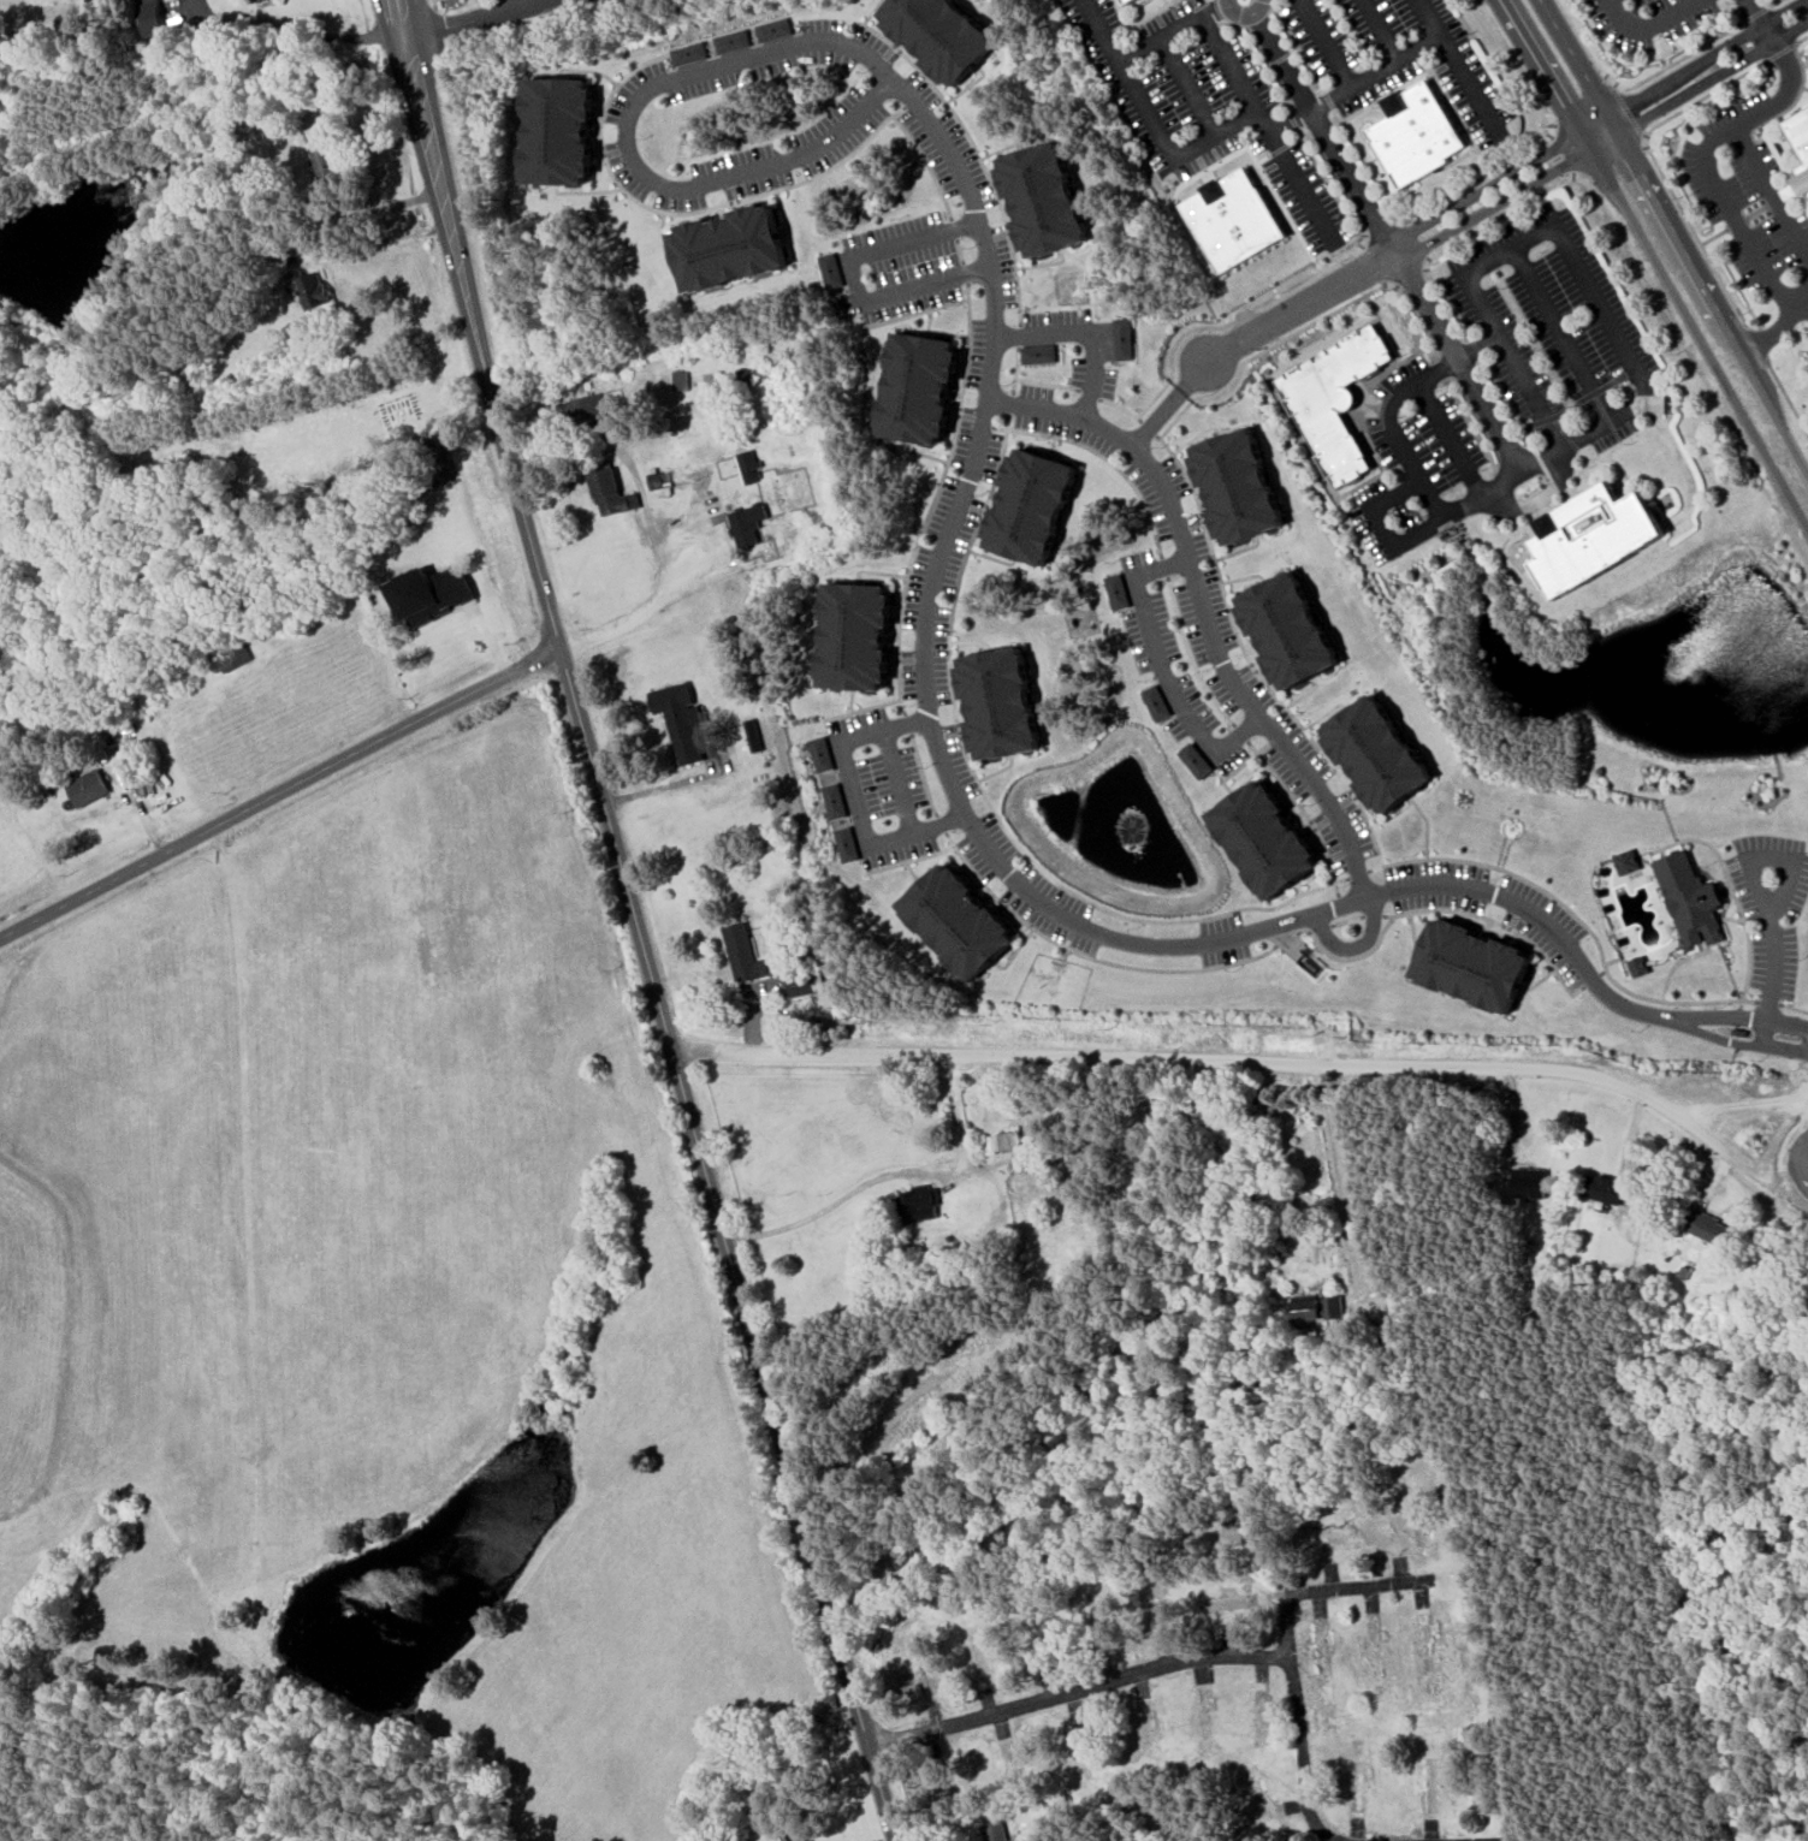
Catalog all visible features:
parking lot: (488, 0)
building: (253, 1)
building: (1134, 1)
road: (1607, 2)
road: (512, 4)
road: (434, 5)
road: (1767, 6)
road: (1214, 8)
road: (1754, 13)
building: (150, 16)
road: (485, 16)
road: (1245, 16)
road: (1757, 18)
parking lot: (1650, 19)
road: (1204, 22)
road: (1649, 26)
building: (771, 29)
road: (1381, 30)
road: (287, 35)
building: (938, 35)
road: (409, 36)
building: (729, 41)
road: (1328, 43)
building: (687, 53)
road: (757, 58)
road: (1788, 70)
road: (1708, 71)
road: (1540, 72)
road: (1373, 75)
parking lot: (1279, 82)
road: (1634, 83)
road: (1470, 85)
road: (1188, 87)
road: (1702, 96)
road: (1576, 101)
road: (1623, 109)
road: (960, 123)
building: (556, 130)
road: (1324, 133)
building: (1418, 133)
road: (1201, 143)
building: (1800, 144)
road: (1250, 148)
building: (324, 154)
road: (1559, 154)
road: (1607, 160)
road: (926, 164)
road: (1486, 173)
road: (1771, 192)
building: (1042, 198)
road: (1720, 202)
parking lot: (1749, 202)
road: (688, 212)
road: (1656, 214)
road: (440, 218)
road: (461, 218)
building: (1234, 220)
road: (1440, 226)
road: (953, 230)
road: (1382, 230)
road: (1472, 231)
road: (1694, 232)
road: (1714, 236)
building: (727, 247)
road: (959, 251)
building: (830, 271)
road: (964, 273)
road: (1406, 274)
road: (852, 277)
building: (312, 289)
road: (915, 314)
road: (1238, 316)
road: (1777, 328)
road: (1300, 329)
road: (1697, 333)
road: (1018, 335)
road: (1085, 335)
road: (1560, 337)
building: (1124, 339)
road: (1757, 344)
road: (1225, 354)
building: (1038, 355)
road: (1457, 364)
road: (1016, 370)
building: (745, 375)
building: (681, 380)
road: (1047, 384)
parking lot: (1506, 385)
building: (917, 388)
road: (1788, 393)
building: (121, 394)
road: (1089, 394)
road: (1647, 399)
building: (1334, 400)
road: (1010, 404)
road: (1121, 408)
building: (588, 411)
road: (1062, 417)
road: (1157, 417)
road: (1149, 428)
road: (1448, 439)
road: (1795, 450)
road: (1104, 457)
building: (749, 467)
road: (1418, 480)
building: (660, 482)
road: (1502, 485)
building: (1237, 487)
building: (610, 491)
road: (933, 499)
building: (1031, 506)
building: (747, 524)
building: (1597, 536)
road: (1163, 568)
building: (1118, 592)
building: (429, 594)
road: (642, 613)
building: (1290, 630)
building: (853, 636)
building: (233, 655)
road: (1191, 657)
road: (1249, 661)
road: (1163, 667)
road: (1234, 678)
building: (1001, 702)
building: (1156, 702)
road: (864, 709)
building: (681, 720)
road: (906, 724)
road: (1240, 734)
building: (753, 736)
building: (823, 753)
building: (1381, 753)
building: (1196, 760)
road: (923, 774)
road: (899, 782)
building: (88, 788)
road: (279, 791)
road: (855, 797)
building: (836, 800)
road: (990, 807)
road: (1303, 810)
road: (941, 824)
road: (974, 826)
building: (1265, 838)
building: (848, 844)
building: (1628, 862)
road: (1359, 874)
road: (1789, 890)
building: (1691, 899)
road: (1529, 914)
road: (1374, 915)
road: (1576, 917)
building: (958, 921)
road: (1348, 921)
road: (1498, 924)
road: (1320, 930)
road: (1287, 939)
road: (1356, 946)
building: (743, 955)
road: (1089, 957)
road: (1350, 958)
building: (1476, 964)
building: (1638, 967)
building: (801, 984)
road: (1770, 1002)
road: (1795, 1008)
road: (1699, 1019)
road: (1754, 1020)
road: (1789, 1022)
road: (1695, 1031)
road: (1767, 1033)
road: (1771, 1047)
road: (1235, 1062)
road: (1803, 1068)
road: (700, 1138)
road: (1786, 1138)
building: (1002, 1142)
road: (1794, 1164)
road: (1338, 1180)
building: (1530, 1183)
building: (1604, 1188)
building: (920, 1205)
building: (1709, 1228)
building: (1317, 1306)
building: (995, 1831)
building: (798, 1837)

